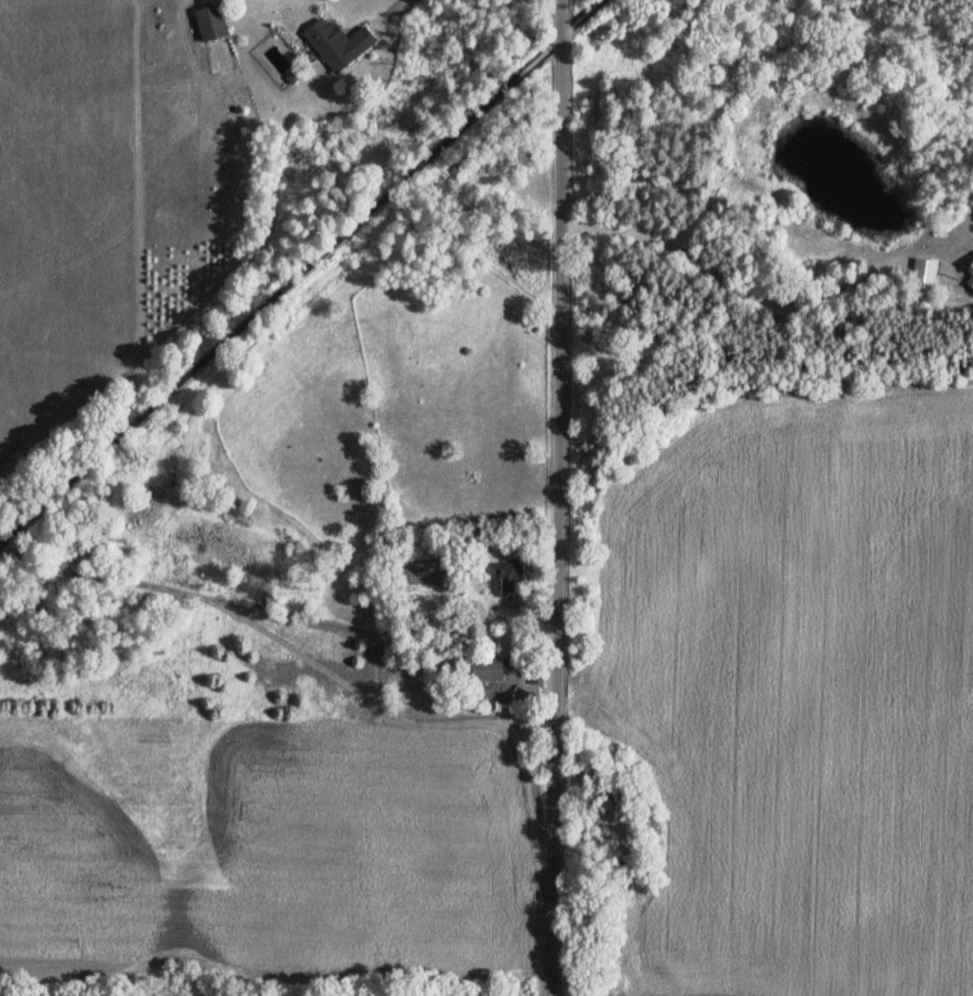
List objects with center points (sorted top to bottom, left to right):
road: (581, 18)
building: (207, 25)
building: (336, 46)
building: (970, 270)
building: (926, 275)
road: (281, 295)
road: (557, 498)
building: (507, 582)
building: (480, 673)

